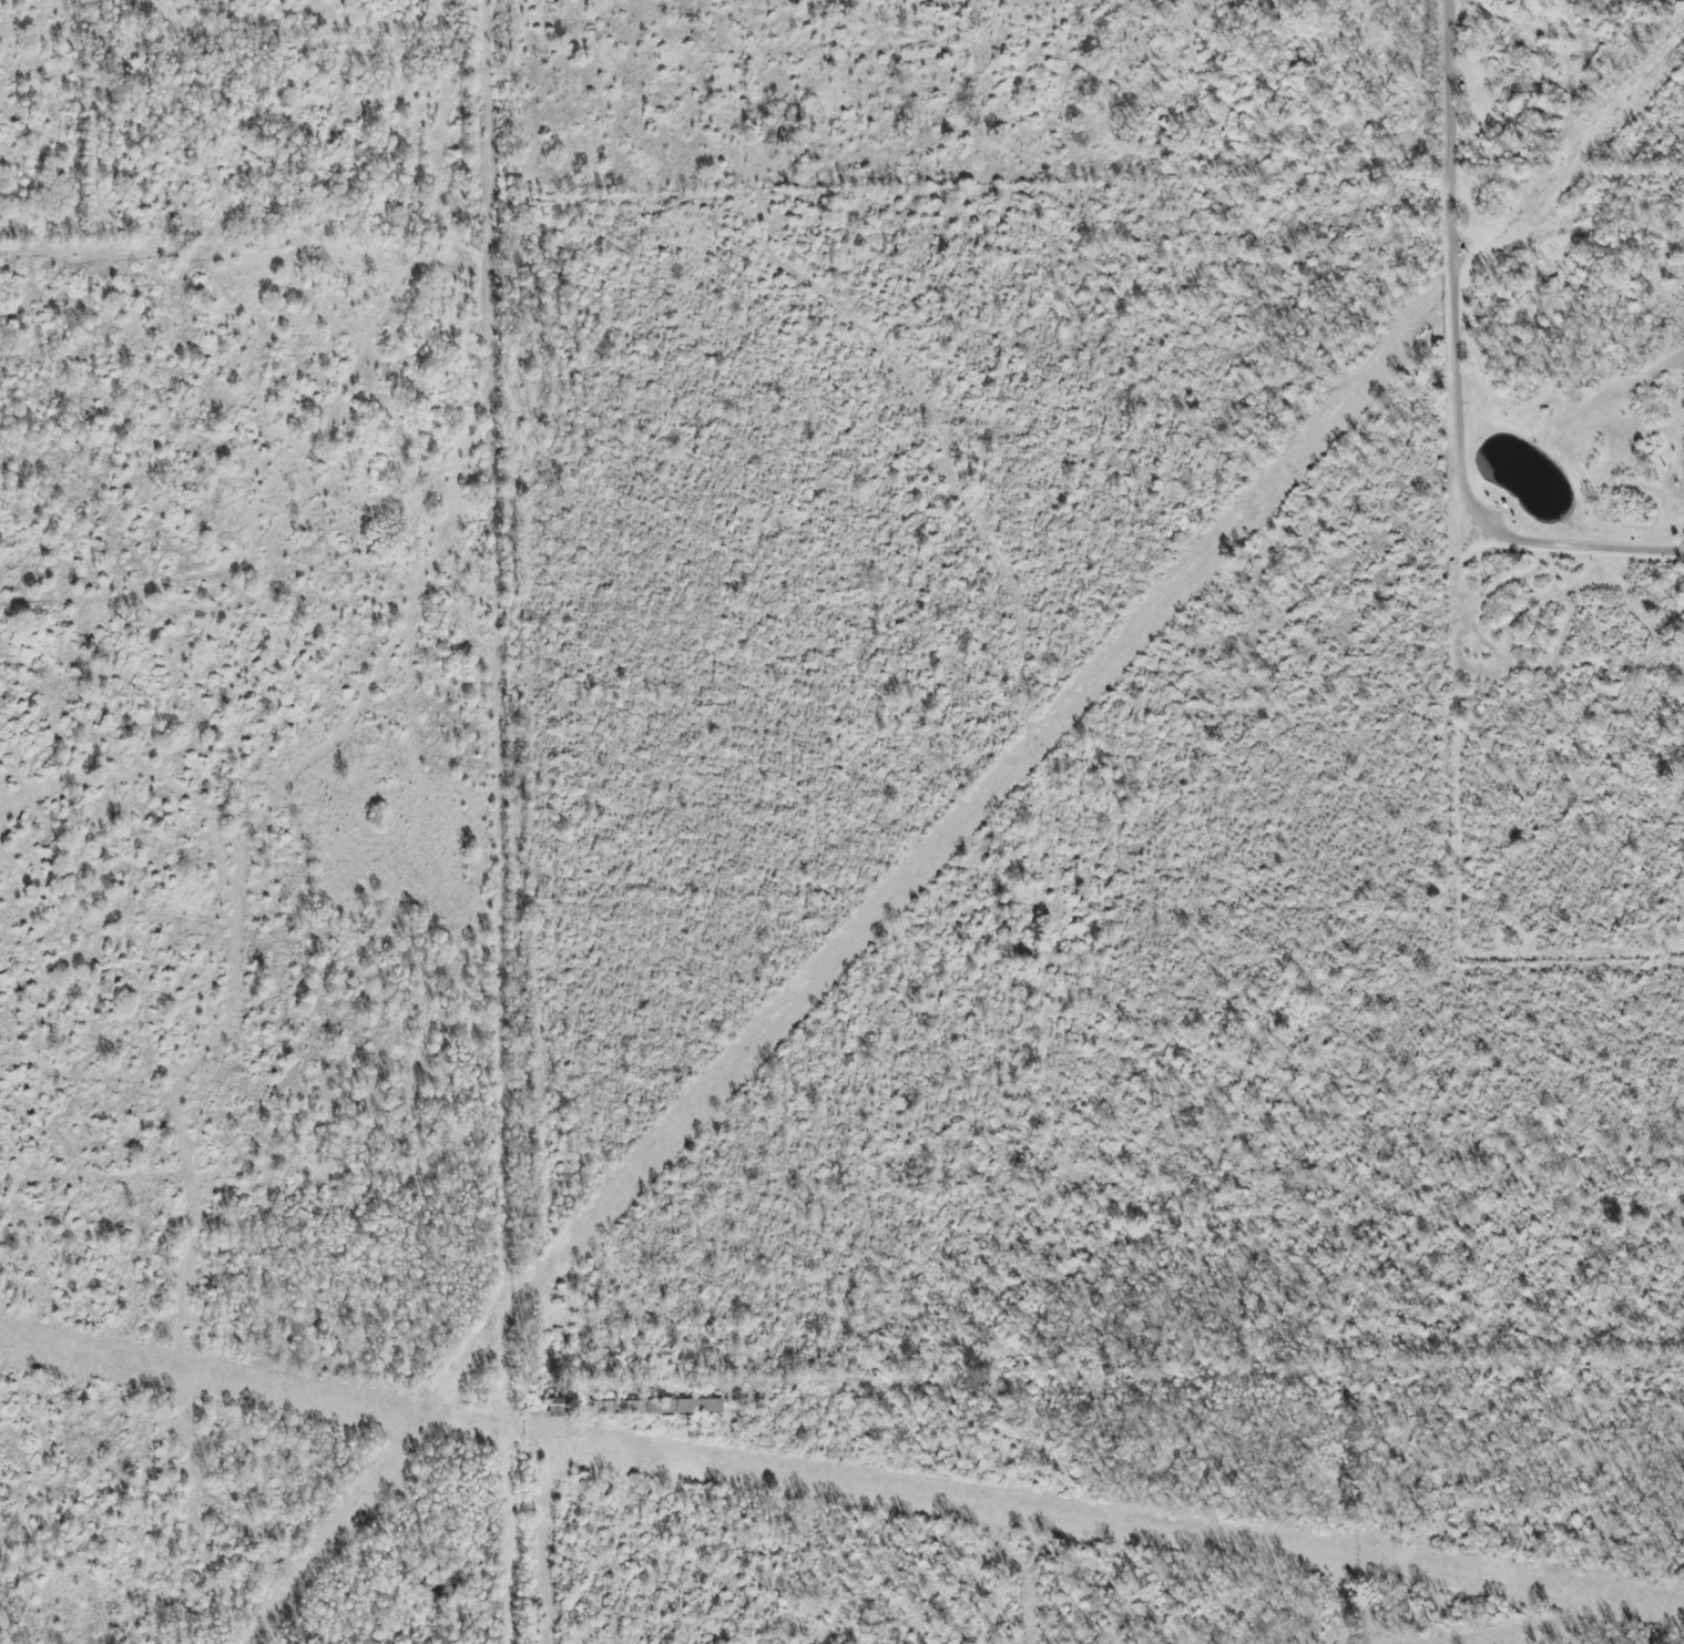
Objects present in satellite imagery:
road: (1455, 371)
road: (508, 821)

